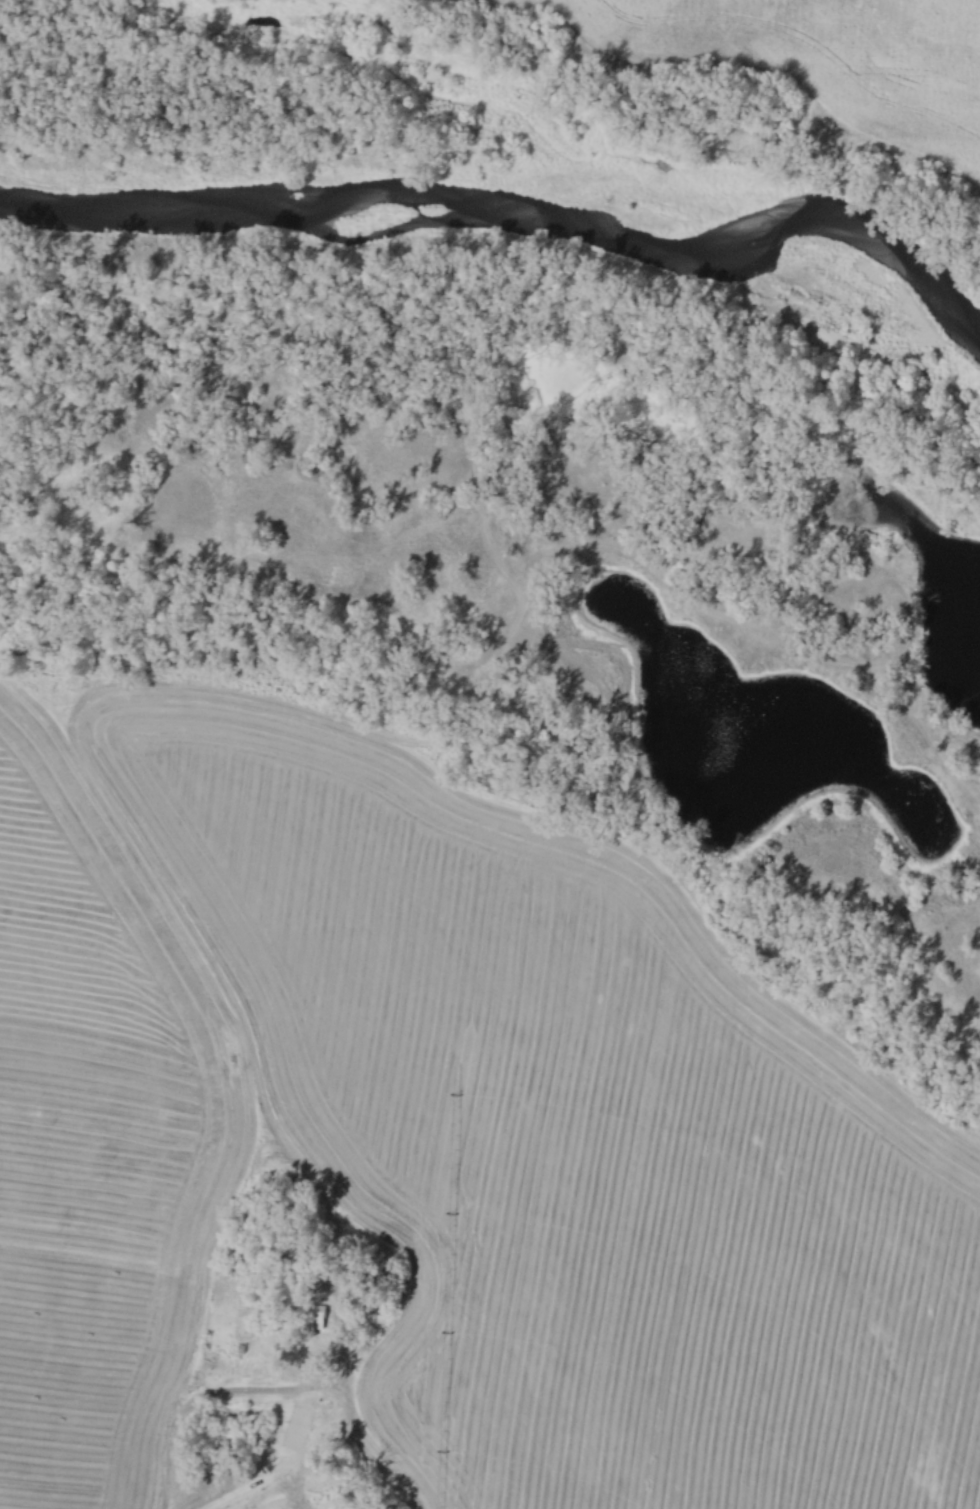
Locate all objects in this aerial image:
river: (512, 219)

